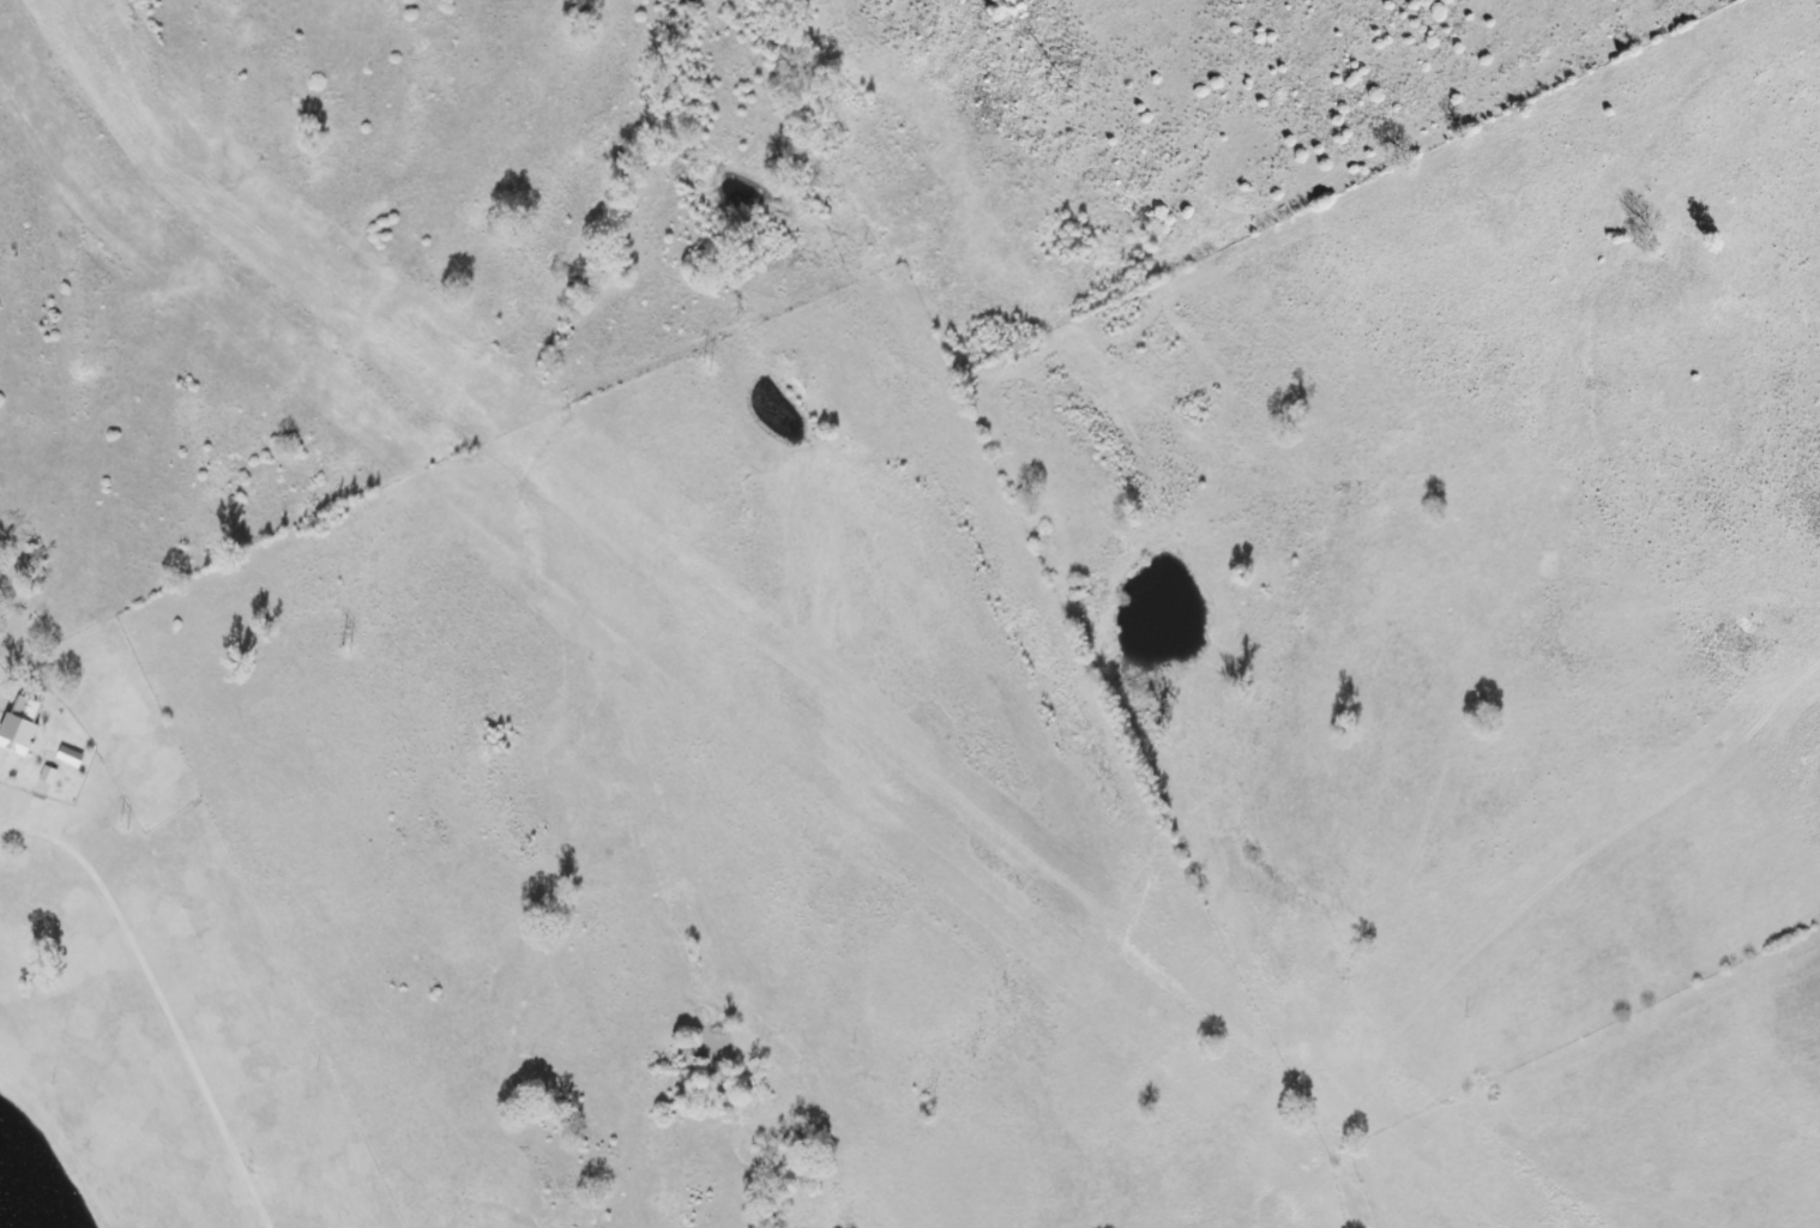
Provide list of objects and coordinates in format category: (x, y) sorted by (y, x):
power tower: (1066, 79)
power tower: (701, 361)
road: (1502, 588)
power tower: (342, 646)
building: (19, 727)
building: (70, 758)
building: (48, 776)
power tower: (119, 823)

